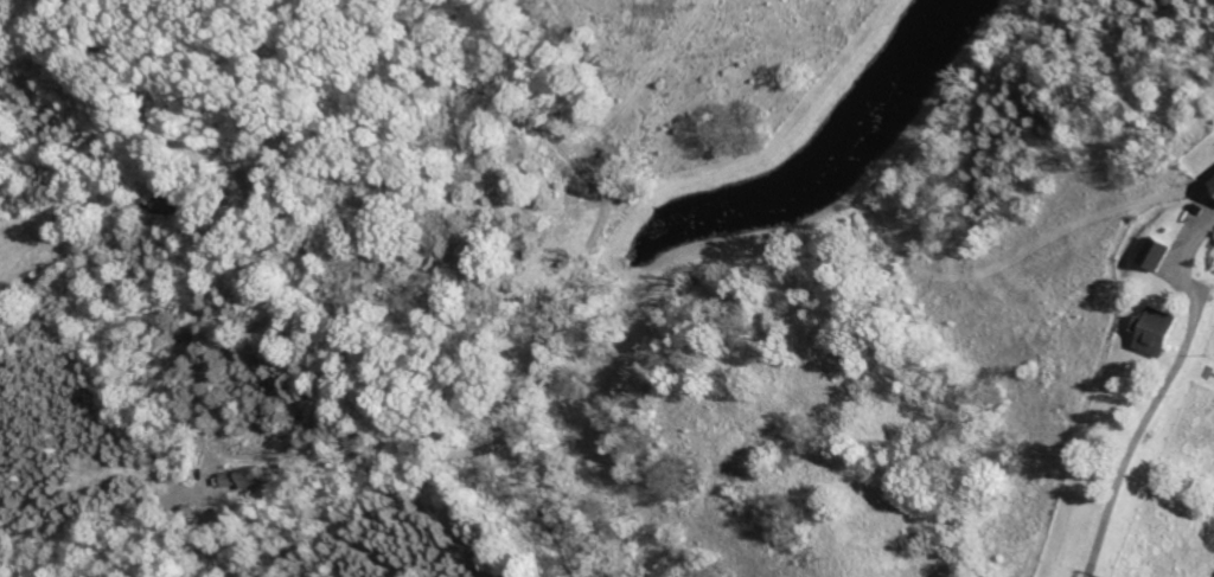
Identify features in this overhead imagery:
building: (1212, 185)
building: (1152, 254)
building: (1154, 331)
road: (1142, 436)
building: (247, 477)
road: (207, 530)

